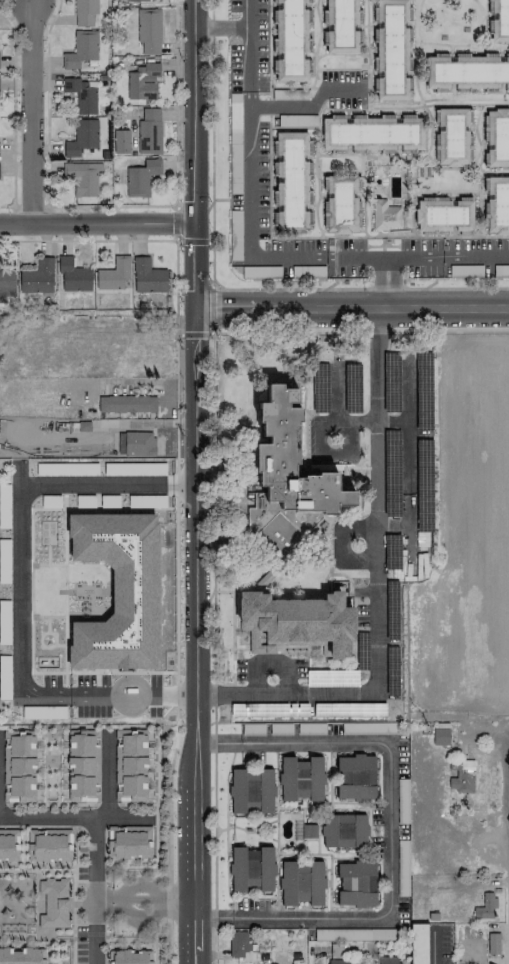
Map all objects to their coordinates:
building: (136, 0)
building: (85, 12)
building: (499, 21)
road: (220, 27)
building: (342, 27)
building: (149, 31)
building: (291, 40)
road: (248, 45)
building: (81, 49)
building: (392, 50)
building: (467, 72)
building: (142, 82)
building: (81, 96)
road: (307, 104)
road: (193, 112)
road: (32, 113)
building: (149, 131)
building: (374, 133)
building: (453, 137)
building: (81, 138)
building: (497, 138)
road: (211, 142)
building: (82, 178)
building: (141, 178)
building: (291, 183)
building: (341, 203)
building: (496, 205)
road: (250, 211)
building: (384, 215)
building: (443, 215)
road: (96, 224)
traffic signals: (194, 225)
road: (175, 240)
road: (475, 257)
road: (356, 258)
road: (393, 258)
road: (193, 262)
building: (114, 274)
building: (73, 275)
building: (147, 277)
building: (37, 278)
building: (6, 285)
road: (307, 287)
road: (456, 288)
traffic signals: (193, 299)
road: (350, 300)
road: (215, 329)
road: (362, 333)
road: (156, 382)
road: (408, 403)
building: (126, 404)
building: (139, 444)
road: (319, 447)
building: (291, 453)
road: (410, 485)
road: (177, 503)
road: (394, 526)
road: (17, 585)
road: (377, 586)
building: (117, 591)
road: (192, 604)
road: (32, 671)
building: (440, 736)
building: (82, 764)
building: (129, 764)
building: (17, 765)
road: (157, 768)
building: (355, 777)
road: (107, 778)
building: (301, 779)
building: (251, 791)
road: (3, 804)
road: (49, 804)
road: (105, 804)
road: (137, 805)
road: (118, 818)
road: (90, 824)
road: (388, 829)
building: (344, 830)
road: (507, 830)
road: (169, 836)
building: (128, 842)
building: (8, 845)
building: (48, 845)
road: (154, 867)
building: (251, 868)
road: (37, 871)
road: (79, 881)
building: (301, 882)
building: (356, 884)
road: (152, 899)
building: (53, 901)
building: (485, 906)
road: (73, 909)
road: (192, 930)
road: (92, 932)
road: (87, 934)
road: (168, 942)
building: (238, 943)
building: (418, 943)
road: (432, 946)
building: (21, 956)
building: (128, 957)
road: (317, 957)
road: (479, 957)
road: (192, 958)
building: (388, 960)
building: (337, 962)

